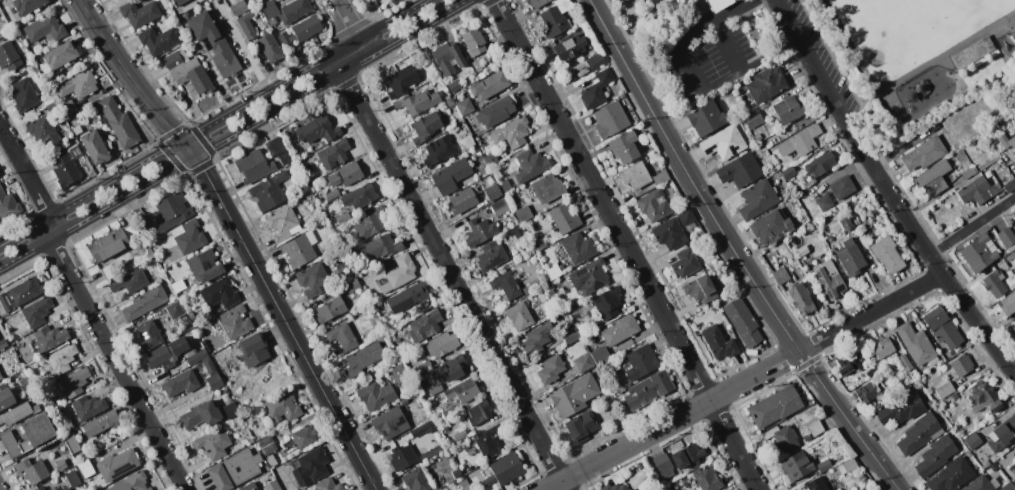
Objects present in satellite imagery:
building: (371, 0)
building: (373, 0)
building: (229, 1)
building: (621, 1)
building: (176, 2)
building: (185, 3)
building: (536, 3)
building: (719, 4)
building: (29, 6)
road: (743, 6)
building: (238, 7)
building: (269, 9)
building: (295, 10)
building: (139, 13)
building: (555, 17)
building: (272, 21)
road: (350, 22)
building: (247, 26)
road: (702, 27)
park: (923, 27)
building: (306, 28)
building: (45, 29)
building: (2, 36)
building: (284, 37)
building: (158, 40)
building: (212, 41)
building: (473, 41)
building: (569, 47)
building: (270, 48)
road: (647, 50)
building: (971, 52)
building: (61, 55)
road: (783, 55)
building: (9, 56)
road: (349, 56)
parking lot: (708, 56)
building: (447, 58)
building: (595, 61)
park: (932, 62)
building: (477, 65)
building: (188, 71)
road: (127, 75)
road: (720, 79)
building: (401, 81)
road: (901, 82)
building: (78, 85)
building: (454, 85)
building: (489, 85)
building: (765, 85)
building: (597, 89)
building: (23, 95)
building: (449, 101)
building: (417, 102)
building: (465, 107)
building: (66, 108)
building: (788, 109)
building: (496, 111)
building: (90, 117)
building: (705, 118)
building: (752, 118)
building: (610, 119)
building: (118, 122)
road: (217, 124)
building: (426, 127)
building: (77, 129)
building: (317, 129)
building: (43, 131)
road: (229, 131)
building: (512, 132)
building: (757, 136)
building: (468, 141)
building: (800, 141)
building: (1007, 141)
traffic signals: (185, 143)
building: (723, 143)
building: (624, 146)
building: (95, 147)
building: (73, 150)
building: (278, 150)
building: (438, 150)
traffic signals: (194, 153)
building: (333, 153)
building: (923, 154)
building: (491, 159)
building: (820, 164)
building: (530, 165)
building: (253, 166)
building: (64, 168)
building: (740, 170)
building: (788, 171)
road: (26, 172)
building: (968, 173)
building: (345, 175)
building: (635, 175)
building: (451, 176)
building: (660, 178)
building: (932, 178)
building: (506, 186)
building: (1009, 186)
building: (843, 187)
building: (547, 188)
building: (269, 191)
road: (889, 191)
building: (976, 191)
building: (493, 192)
building: (332, 194)
building: (359, 197)
building: (462, 199)
building: (757, 199)
building: (824, 202)
building: (653, 205)
building: (8, 206)
building: (500, 207)
building: (172, 211)
building: (1014, 212)
building: (524, 213)
building: (685, 216)
building: (564, 217)
building: (342, 218)
building: (283, 223)
building: (371, 223)
building: (846, 223)
building: (770, 227)
road: (973, 227)
road: (49, 228)
building: (480, 231)
building: (669, 233)
building: (519, 234)
building: (188, 237)
building: (1007, 238)
building: (828, 240)
building: (112, 243)
road: (625, 244)
building: (542, 246)
building: (382, 247)
building: (578, 247)
building: (300, 249)
building: (803, 250)
road: (735, 251)
building: (979, 253)
building: (887, 254)
building: (491, 256)
building: (850, 258)
building: (685, 262)
building: (204, 266)
building: (553, 271)
building: (108, 272)
building: (399, 273)
building: (592, 276)
building: (780, 276)
building: (544, 277)
road: (452, 278)
building: (559, 278)
building: (829, 279)
building: (314, 280)
building: (130, 281)
building: (994, 283)
building: (352, 285)
building: (1013, 285)
building: (506, 286)
building: (528, 288)
building: (700, 289)
building: (25, 291)
building: (219, 293)
building: (550, 293)
building: (410, 298)
building: (801, 299)
building: (5, 302)
building: (607, 302)
building: (145, 303)
building: (1007, 303)
building: (330, 309)
building: (175, 310)
building: (37, 311)
road: (281, 315)
building: (519, 316)
building: (192, 317)
building: (743, 321)
building: (233, 322)
building: (424, 326)
building: (941, 327)
building: (1013, 328)
building: (619, 330)
building: (149, 335)
building: (570, 335)
building: (537, 336)
building: (51, 337)
building: (343, 337)
building: (3, 343)
building: (719, 343)
building: (442, 344)
building: (915, 344)
building: (179, 345)
building: (882, 347)
building: (254, 349)
building: (190, 352)
building: (600, 355)
building: (157, 356)
building: (196, 357)
building: (62, 358)
building: (16, 359)
building: (363, 359)
road: (115, 362)
building: (583, 362)
building: (640, 362)
building: (905, 362)
building: (847, 363)
building: (961, 365)
building: (209, 366)
building: (423, 366)
building: (453, 367)
road: (1013, 368)
building: (550, 369)
building: (23, 373)
building: (400, 374)
building: (1, 376)
building: (159, 377)
building: (215, 381)
building: (74, 382)
road: (744, 382)
building: (26, 383)
building: (181, 383)
building: (435, 389)
building: (648, 389)
building: (945, 390)
building: (462, 391)
building: (867, 392)
building: (376, 395)
building: (574, 395)
building: (6, 396)
building: (984, 398)
building: (88, 406)
building: (282, 407)
building: (774, 407)
building: (230, 410)
building: (900, 410)
building: (479, 412)
building: (18, 413)
building: (448, 413)
building: (200, 415)
building: (100, 423)
building: (390, 423)
building: (580, 426)
building: (423, 428)
building: (815, 428)
building: (920, 434)
building: (1002, 434)
building: (28, 435)
building: (460, 435)
building: (304, 437)
building: (783, 437)
building: (250, 441)
building: (265, 441)
building: (488, 441)
building: (72, 442)
building: (213, 442)
building: (973, 442)
building: (269, 448)
building: (429, 454)
building: (687, 455)
building: (935, 456)
building: (402, 457)
building: (1014, 458)
building: (271, 460)
building: (474, 460)
building: (117, 464)
building: (664, 464)
building: (61, 465)
building: (796, 465)
building: (825, 465)
building: (310, 466)
building: (847, 466)
building: (994, 466)
building: (86, 468)
building: (506, 468)
building: (234, 469)
building: (1012, 469)
building: (32, 470)
building: (951, 476)
building: (73, 478)
building: (707, 478)
building: (415, 480)
building: (489, 480)
building: (131, 482)
building: (465, 484)
building: (817, 484)
building: (982, 484)
building: (272, 485)
building: (328, 485)
building: (1008, 486)
building: (248, 487)
building: (613, 487)
building: (40, 488)
building: (65, 488)
building: (55, 489)
building: (726, 489)

